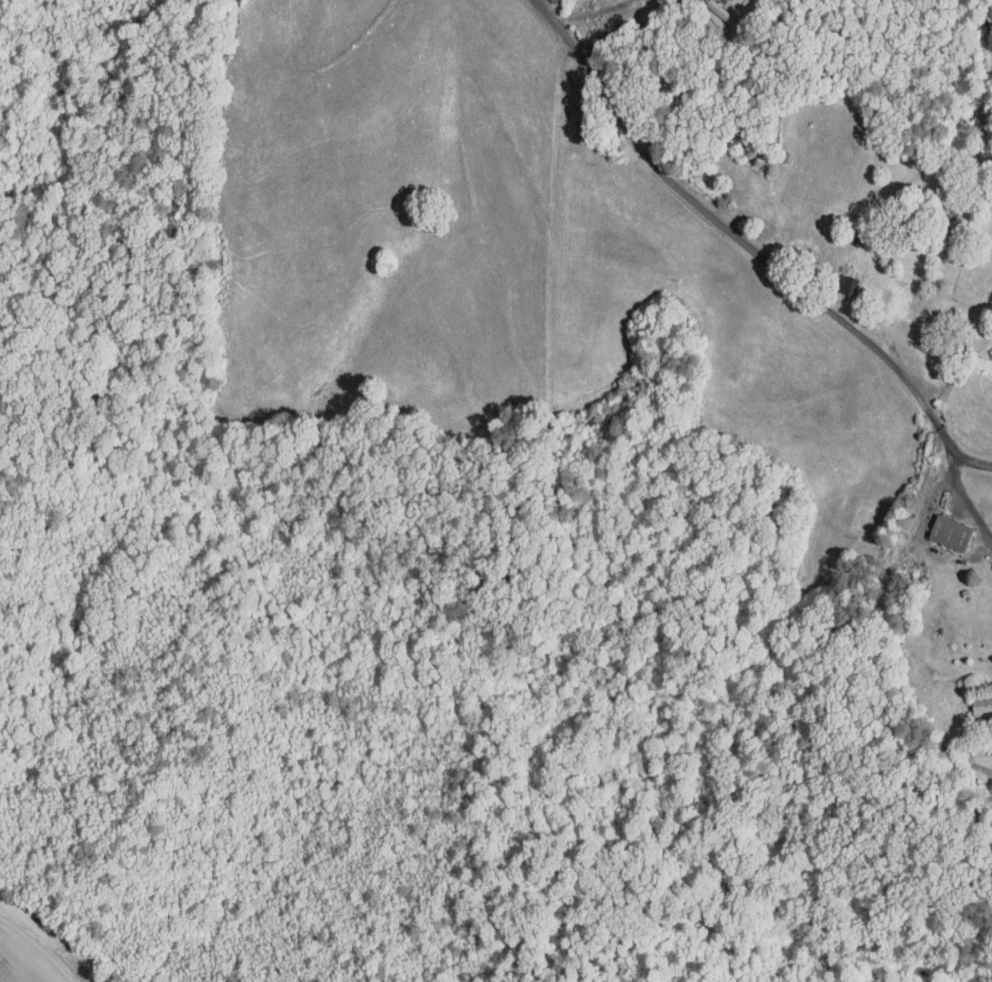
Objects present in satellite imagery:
road: (596, 12)
road: (631, 26)
road: (732, 232)
building: (835, 279)
road: (969, 458)
road: (964, 494)
building: (938, 528)
building: (975, 701)

